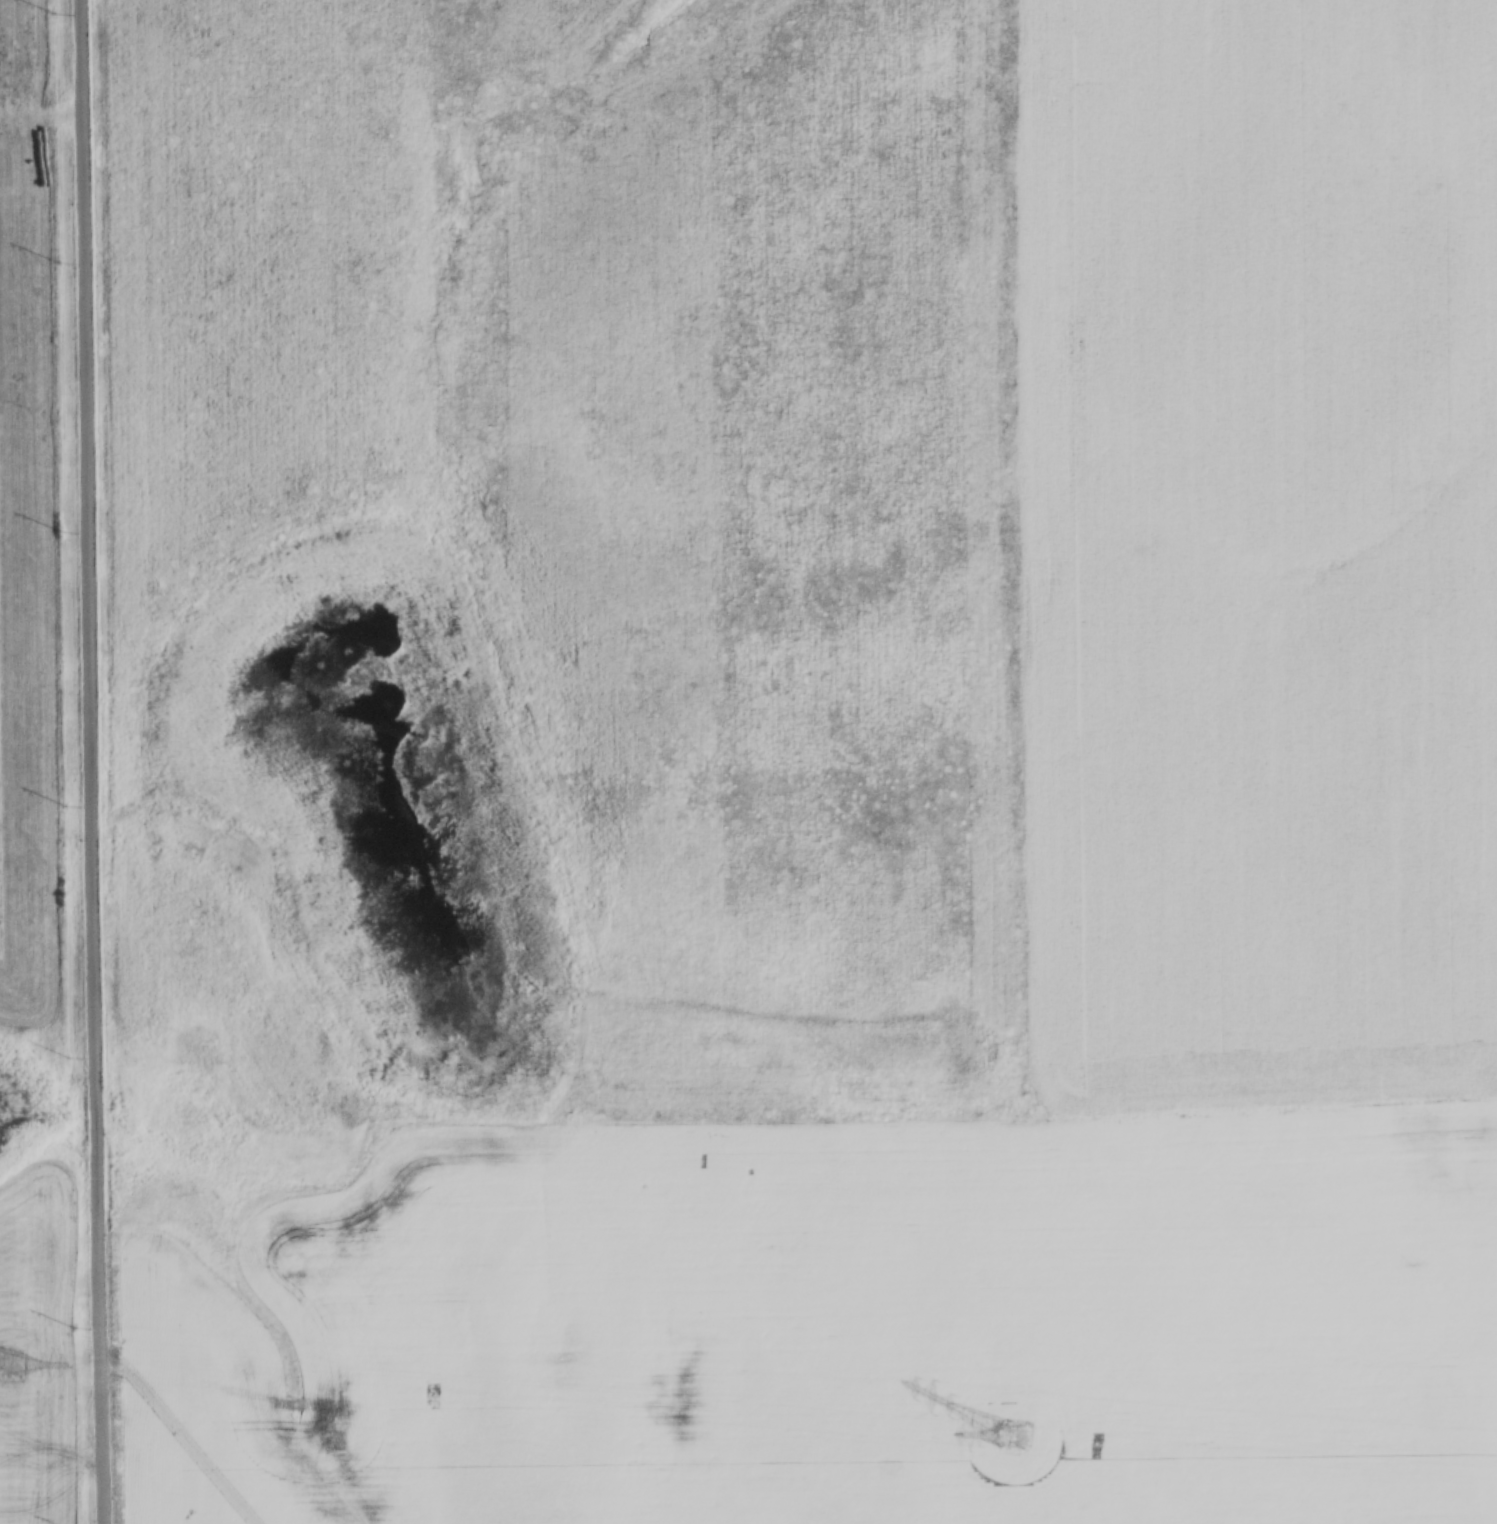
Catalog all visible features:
road: (90, 762)
power tower: (3, 1364)
power tower: (1006, 1439)

